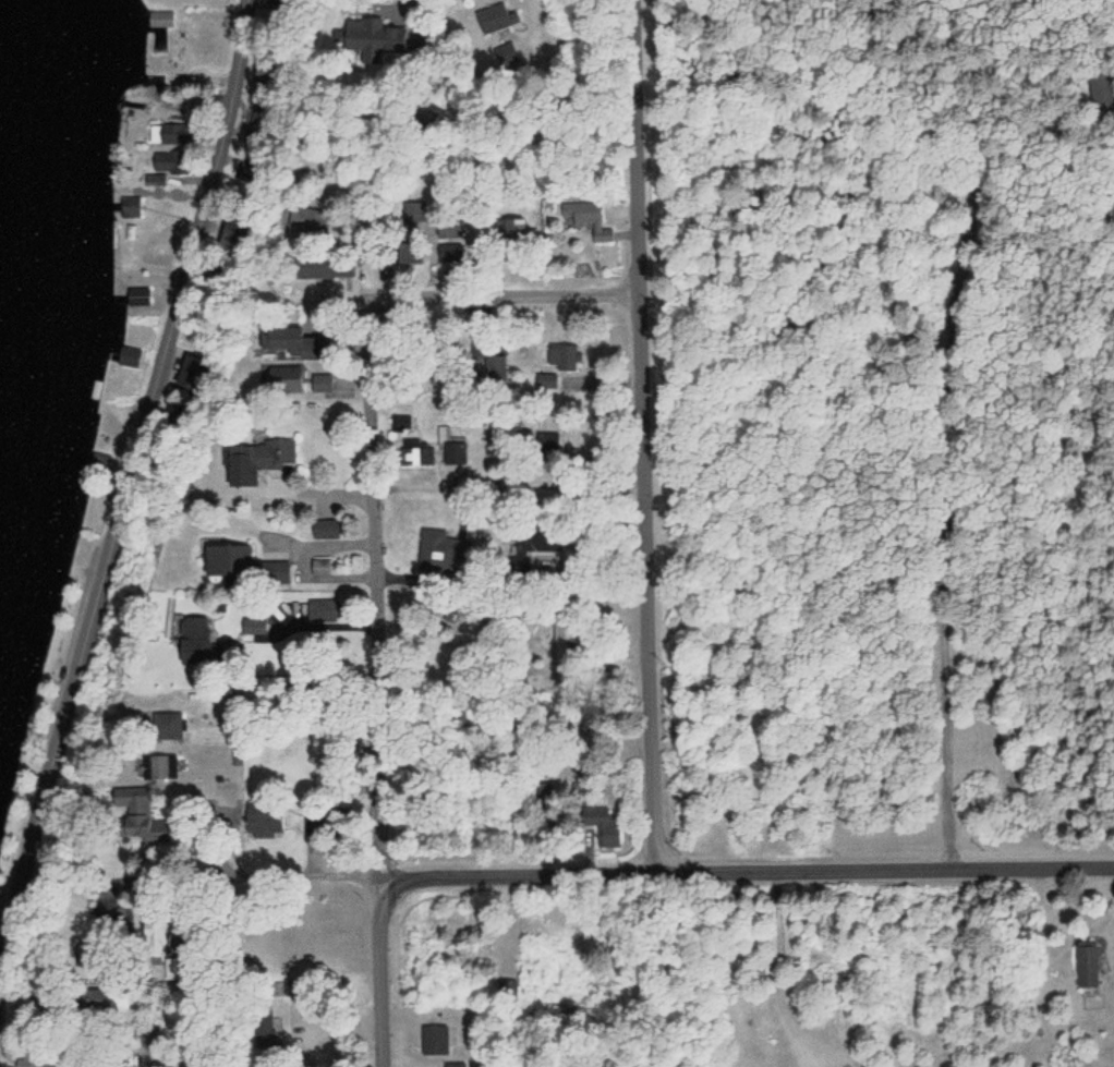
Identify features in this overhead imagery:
building: (507, 17)
building: (161, 19)
building: (372, 59)
road: (476, 70)
building: (1104, 88)
building: (170, 134)
building: (169, 161)
building: (129, 208)
building: (310, 267)
road: (471, 312)
building: (288, 344)
building: (564, 357)
building: (498, 376)
building: (547, 380)
road: (857, 427)
road: (646, 429)
building: (550, 442)
building: (258, 456)
building: (421, 456)
road: (513, 485)
road: (148, 500)
building: (543, 543)
building: (446, 555)
building: (226, 561)
building: (322, 568)
building: (191, 642)
road: (289, 647)
road: (382, 692)
building: (165, 727)
building: (162, 768)
road: (312, 785)
building: (130, 815)
building: (263, 821)
building: (603, 825)
road: (680, 859)
building: (1086, 963)
building: (265, 1029)
building: (435, 1040)
building: (31, 1065)

